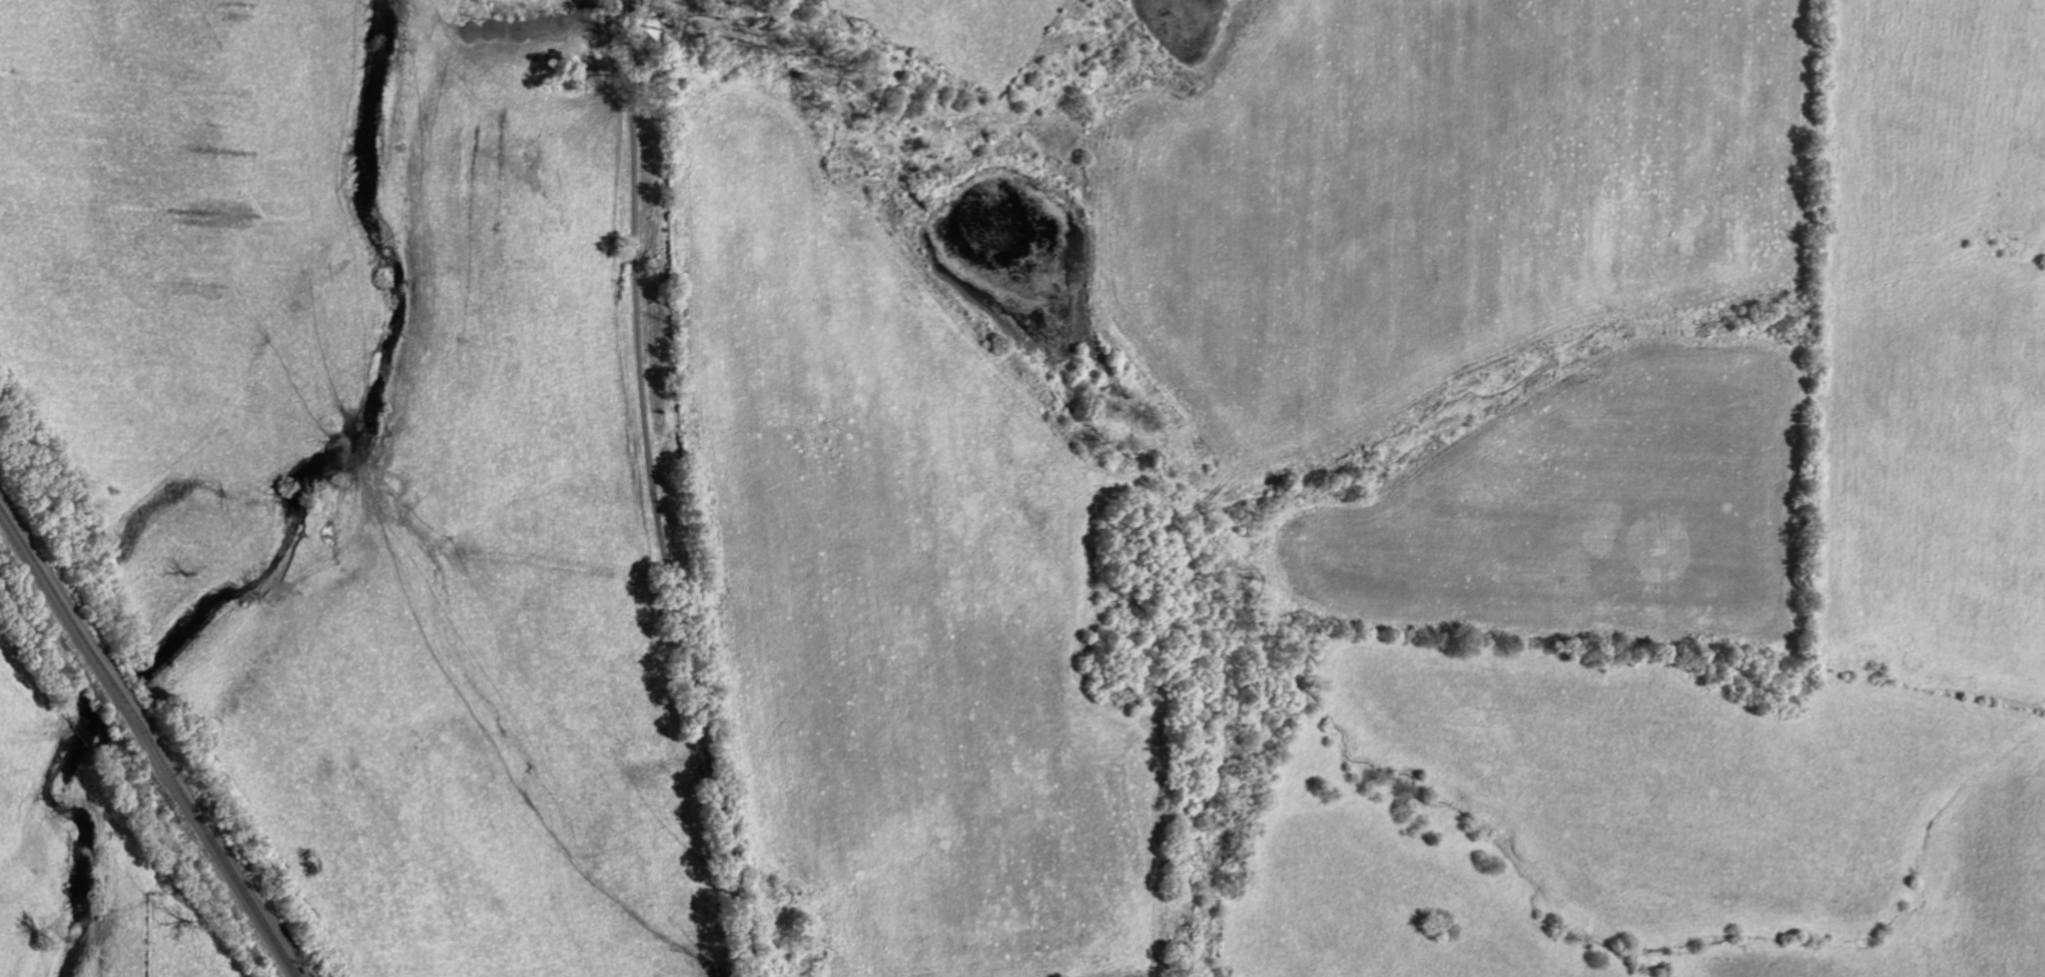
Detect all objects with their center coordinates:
railway: (145, 747)

